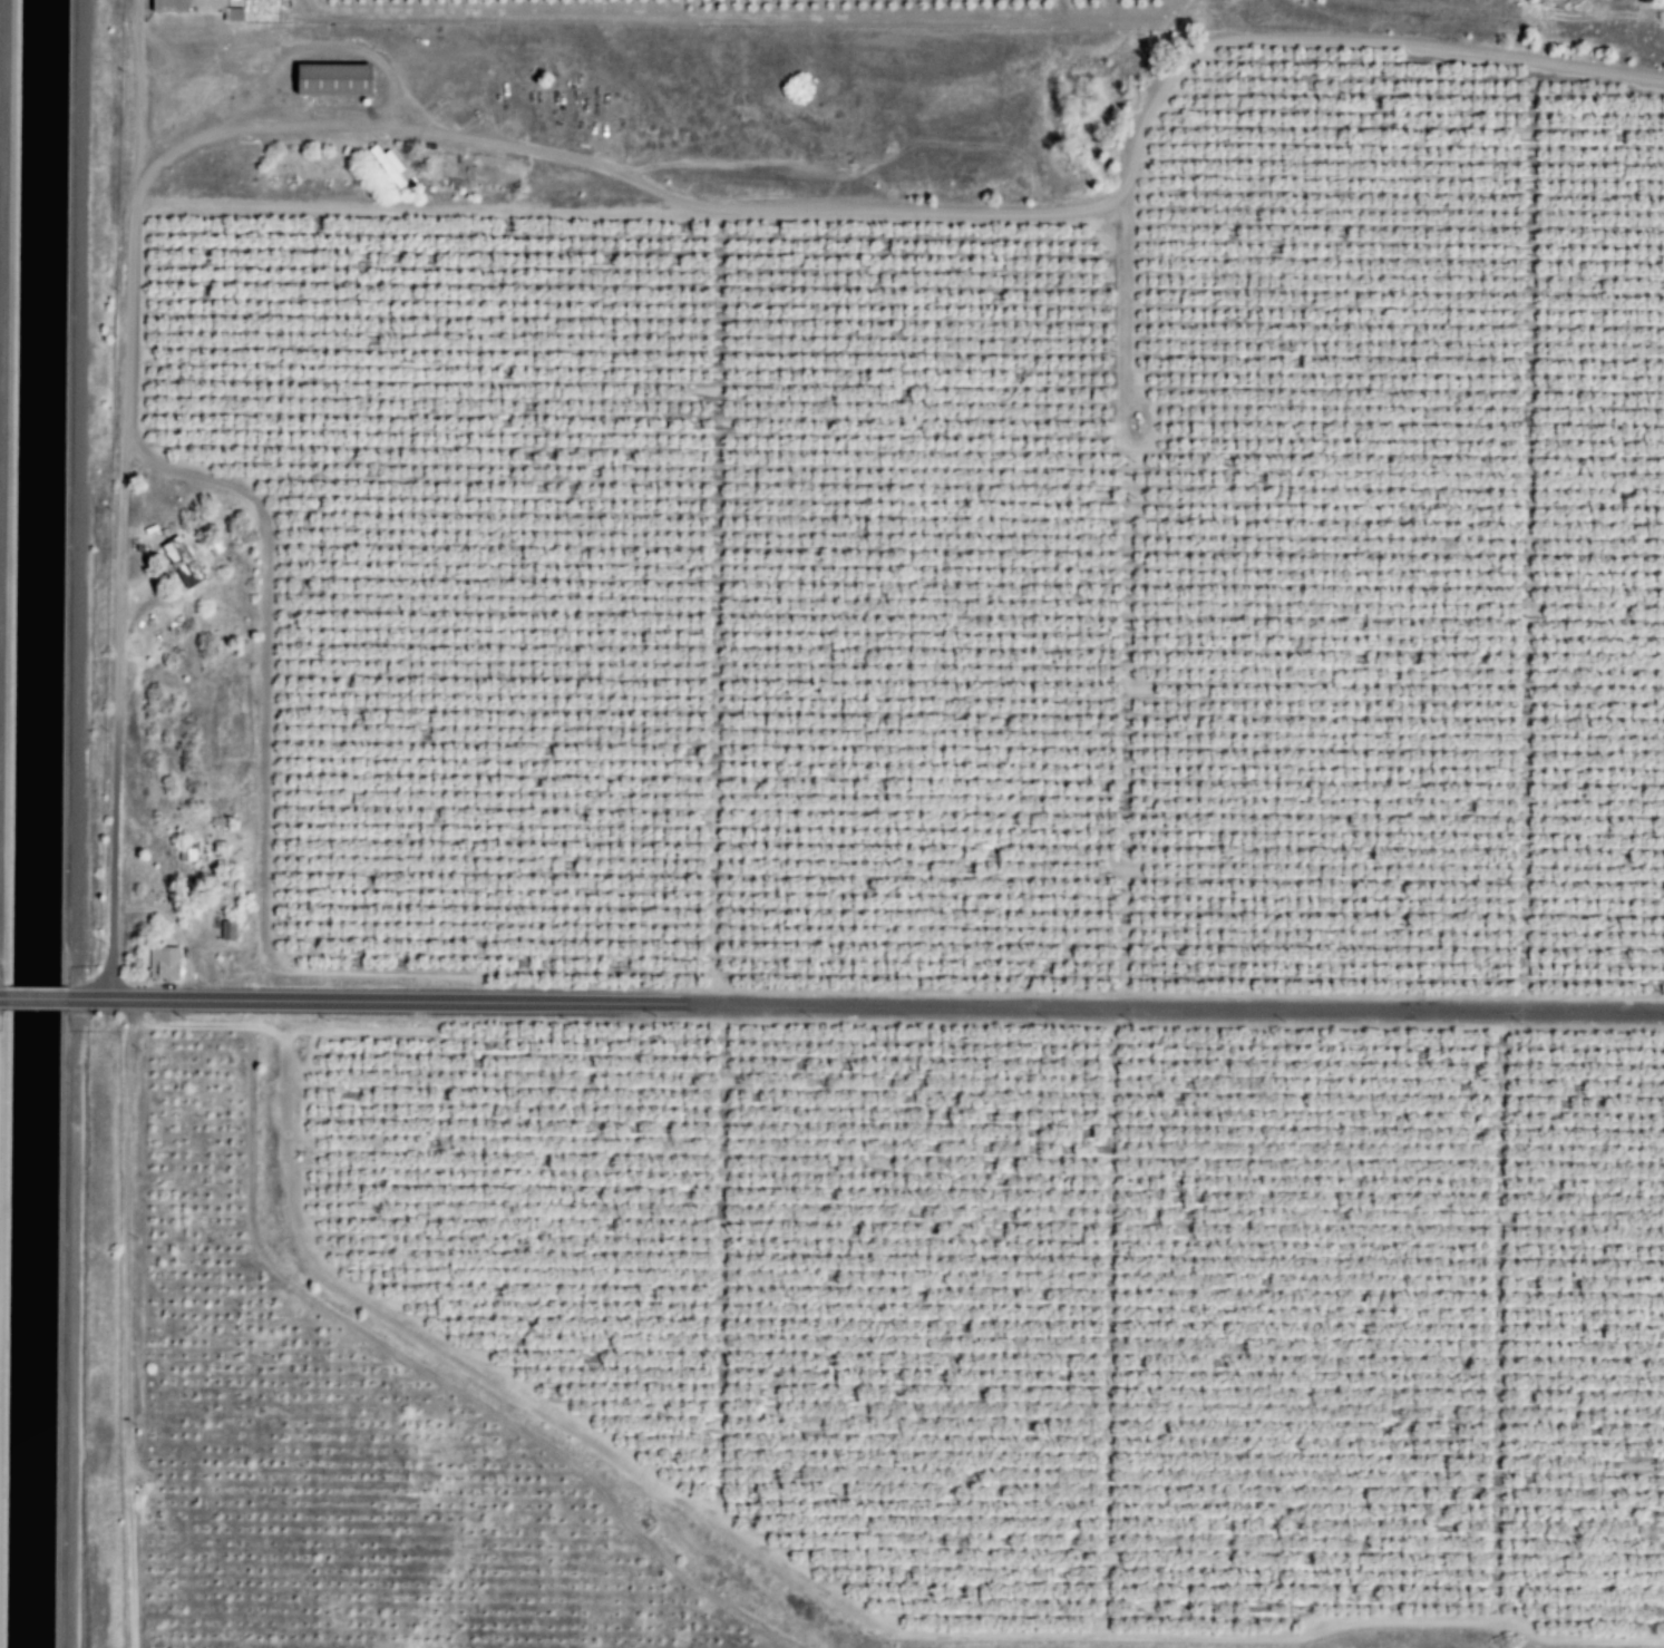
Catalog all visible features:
building: (193, 7)
building: (327, 79)
building: (385, 165)
road: (76, 499)
building: (177, 562)
building: (184, 855)
building: (225, 930)
building: (160, 964)
road: (0, 998)
road: (32, 998)
road: (864, 1003)

